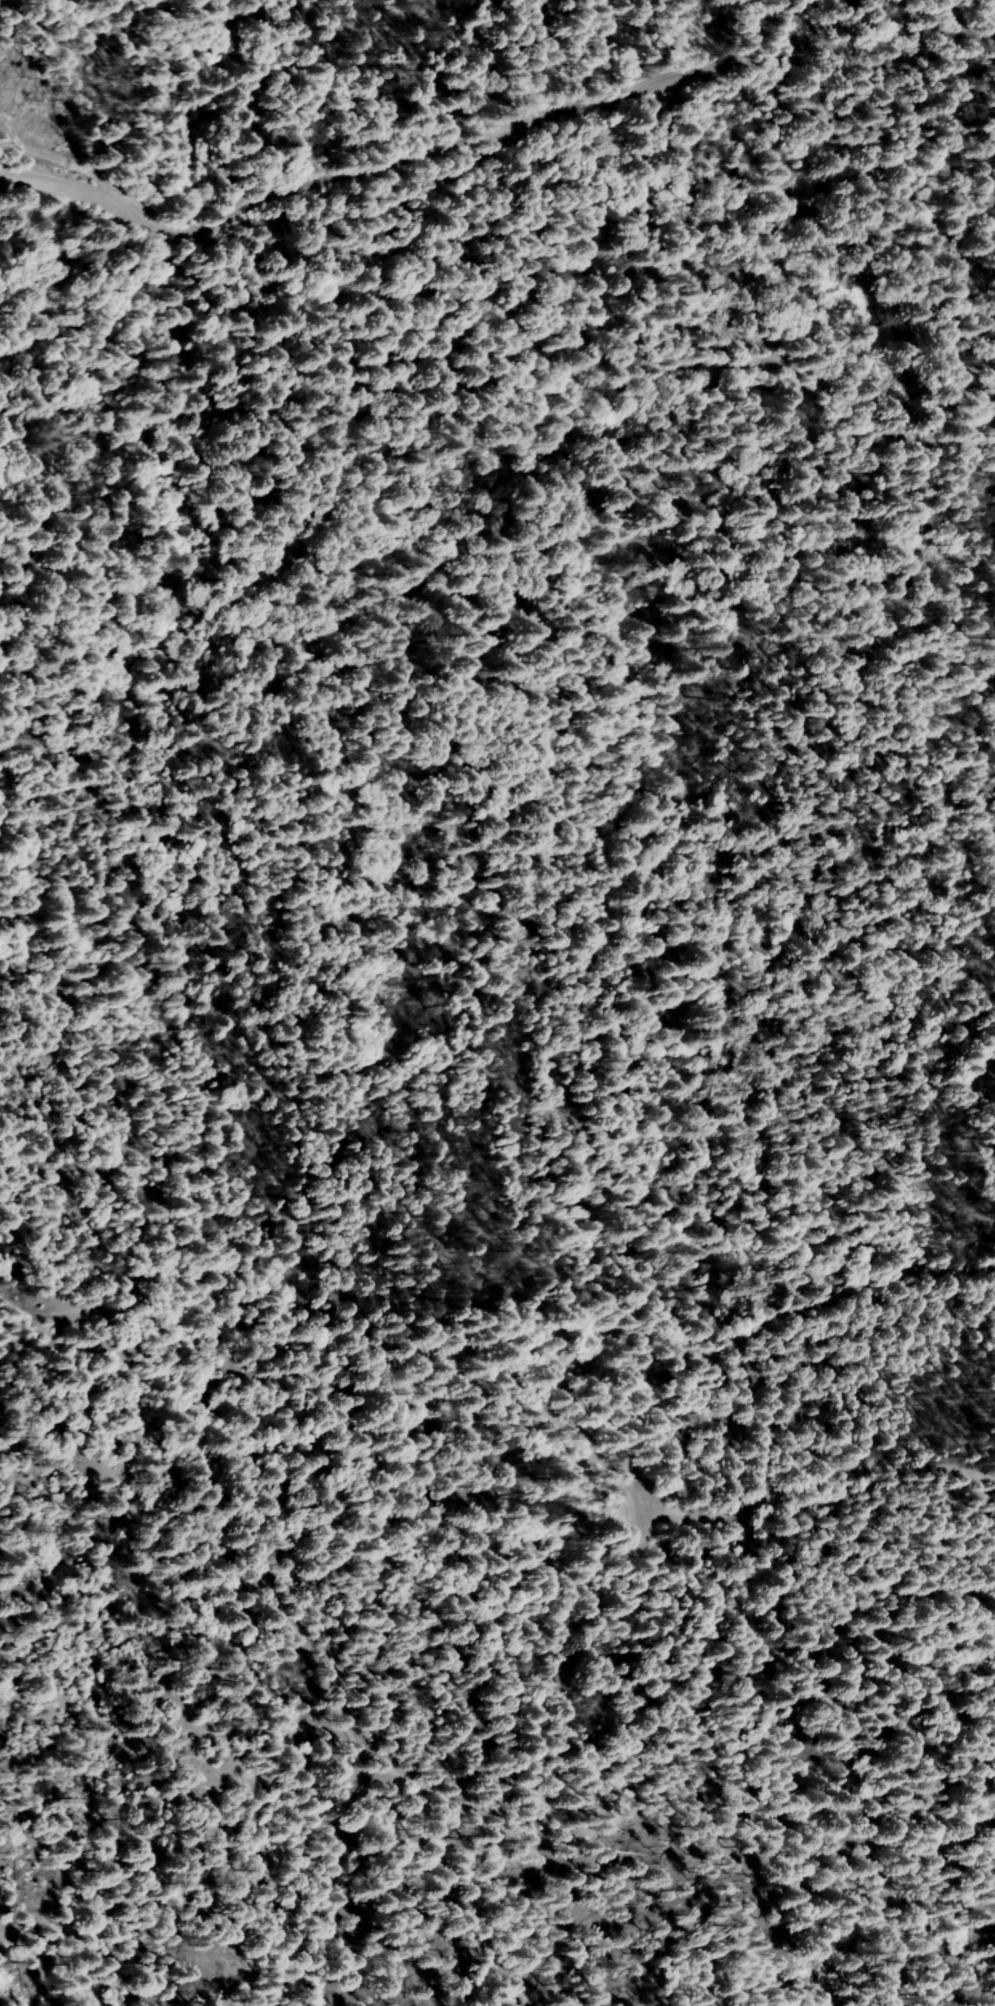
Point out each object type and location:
road: (59, 159)
road: (409, 167)
road: (494, 317)
road: (299, 427)
road: (472, 1478)
road: (379, 1761)

